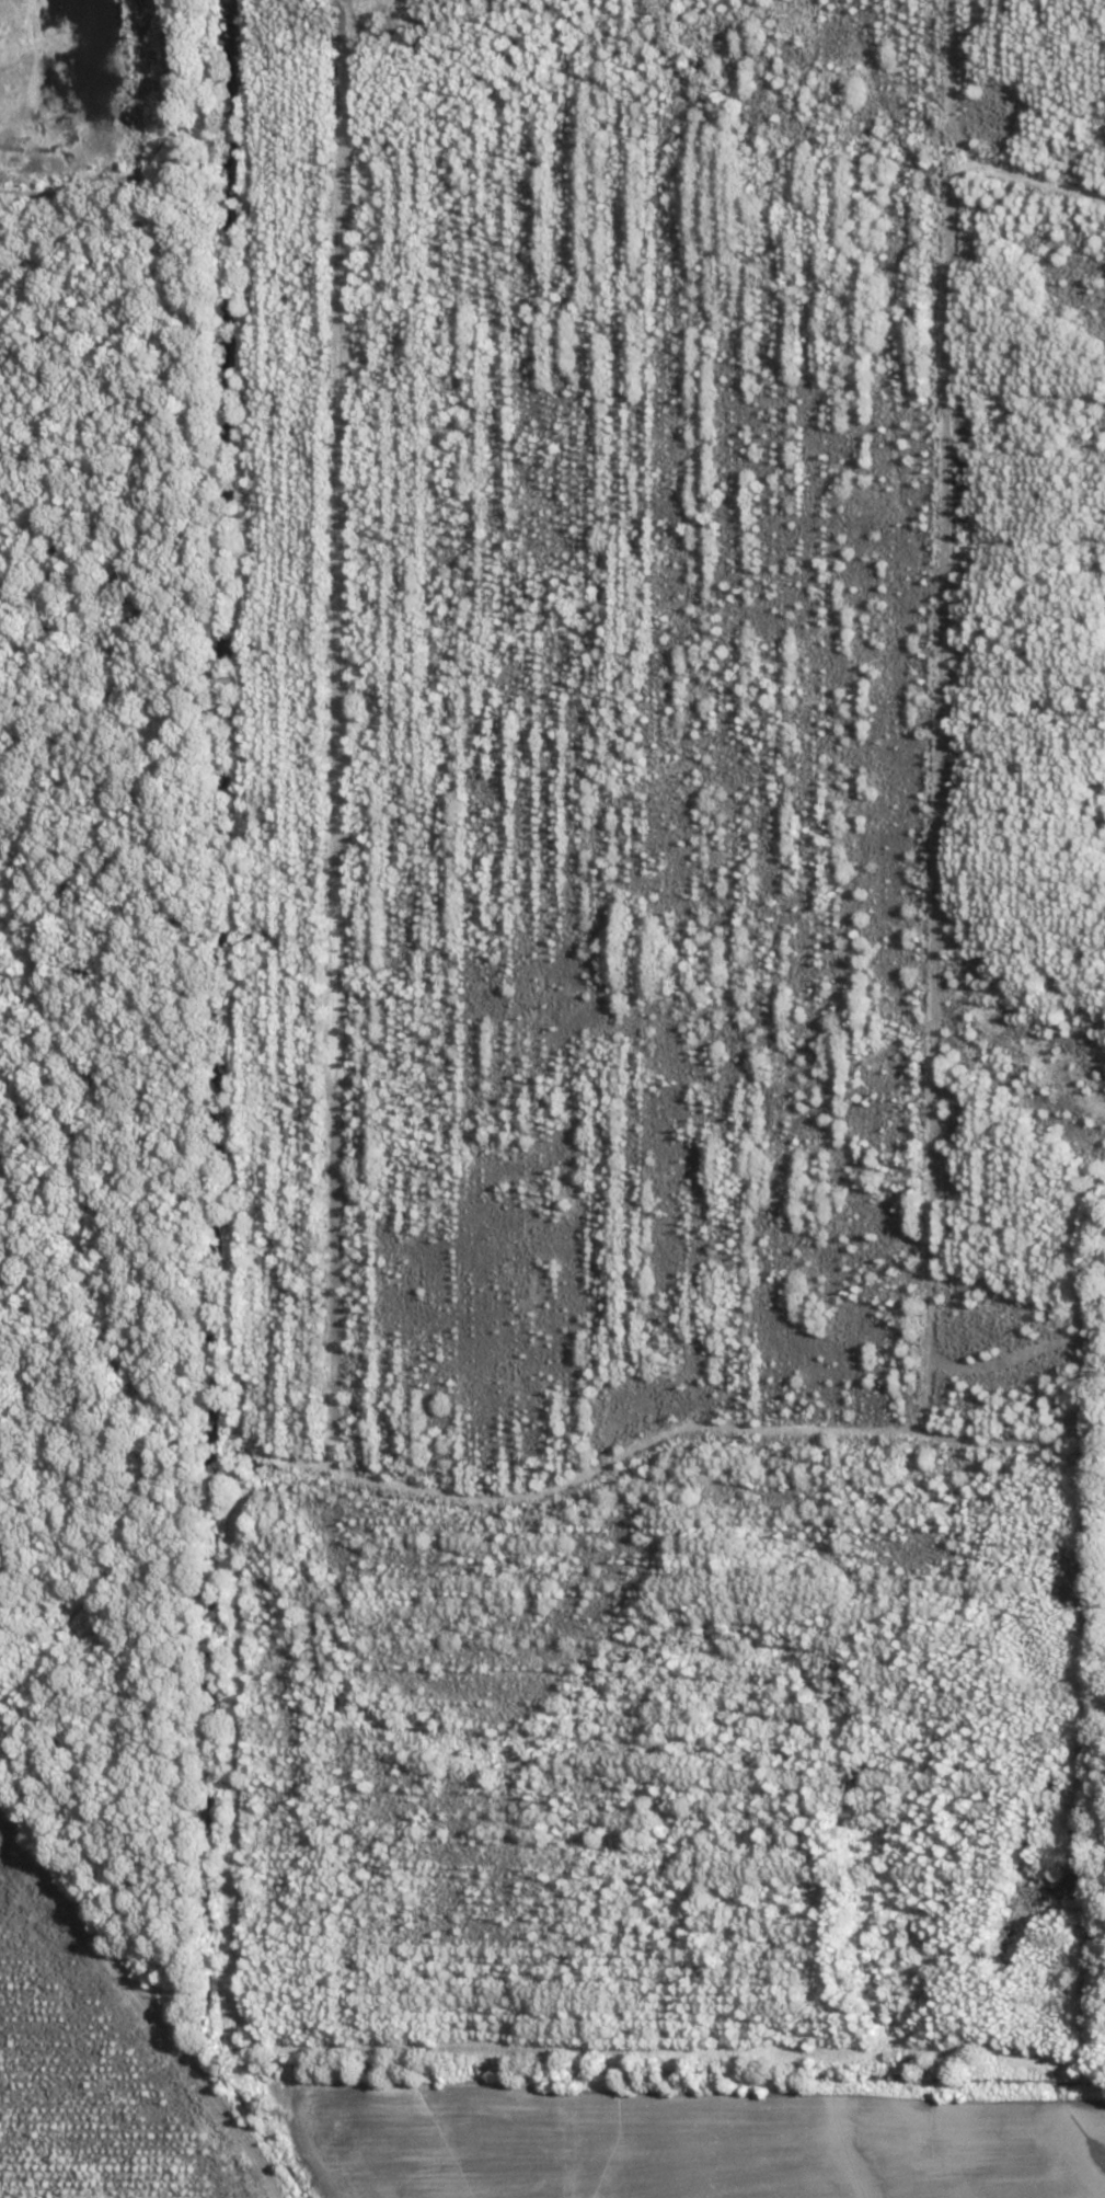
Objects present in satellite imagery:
road: (138, 2002)

